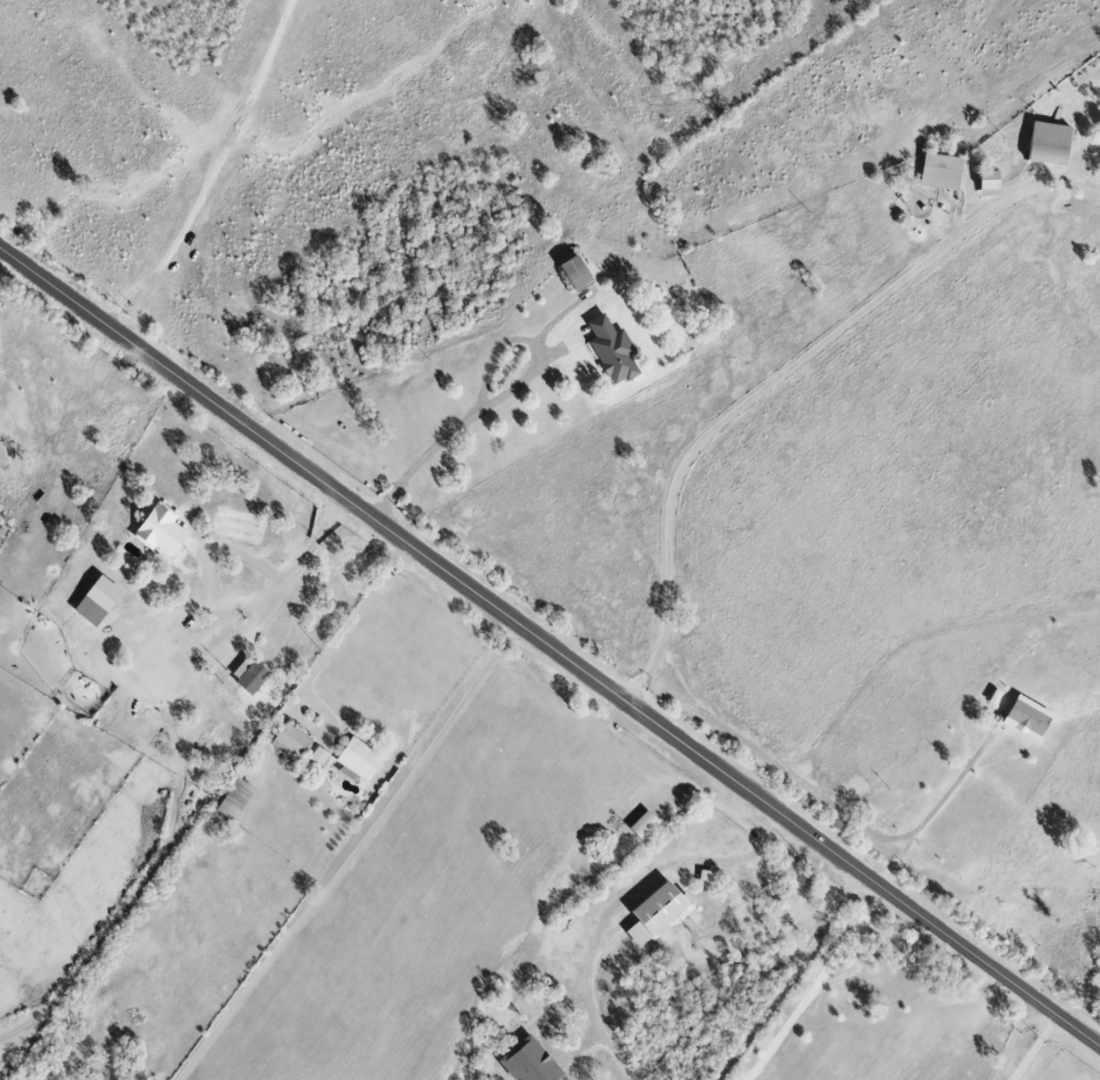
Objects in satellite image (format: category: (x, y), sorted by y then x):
building: (1099, 137)
building: (1052, 144)
building: (942, 171)
building: (991, 183)
building: (579, 273)
building: (615, 350)
road: (760, 390)
road: (509, 395)
building: (162, 531)
road: (240, 598)
building: (100, 601)
road: (344, 633)
road: (549, 648)
building: (251, 675)
road: (141, 687)
building: (1030, 717)
building: (293, 742)
building: (321, 755)
building: (361, 760)
building: (236, 800)
road: (930, 813)
building: (647, 824)
road: (351, 856)
building: (708, 877)
road: (615, 907)
building: (660, 913)
road: (786, 975)
road: (818, 986)
road: (1012, 1038)
road: (1039, 1049)
building: (532, 1061)

